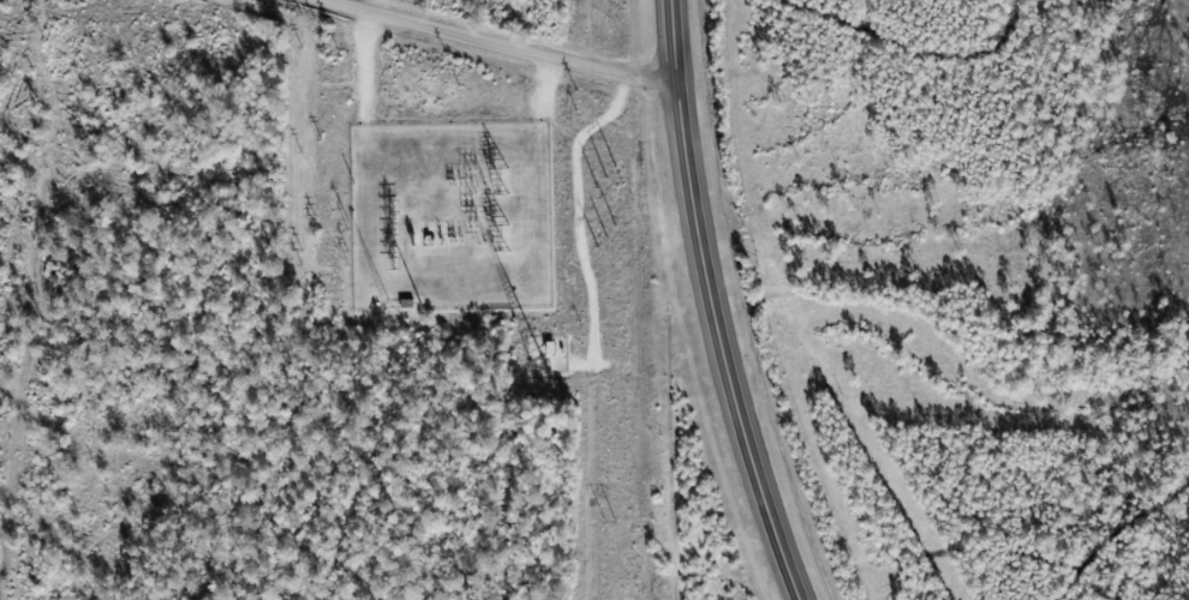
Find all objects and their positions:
road: (545, 35)
power substation: (453, 216)
road: (716, 305)

